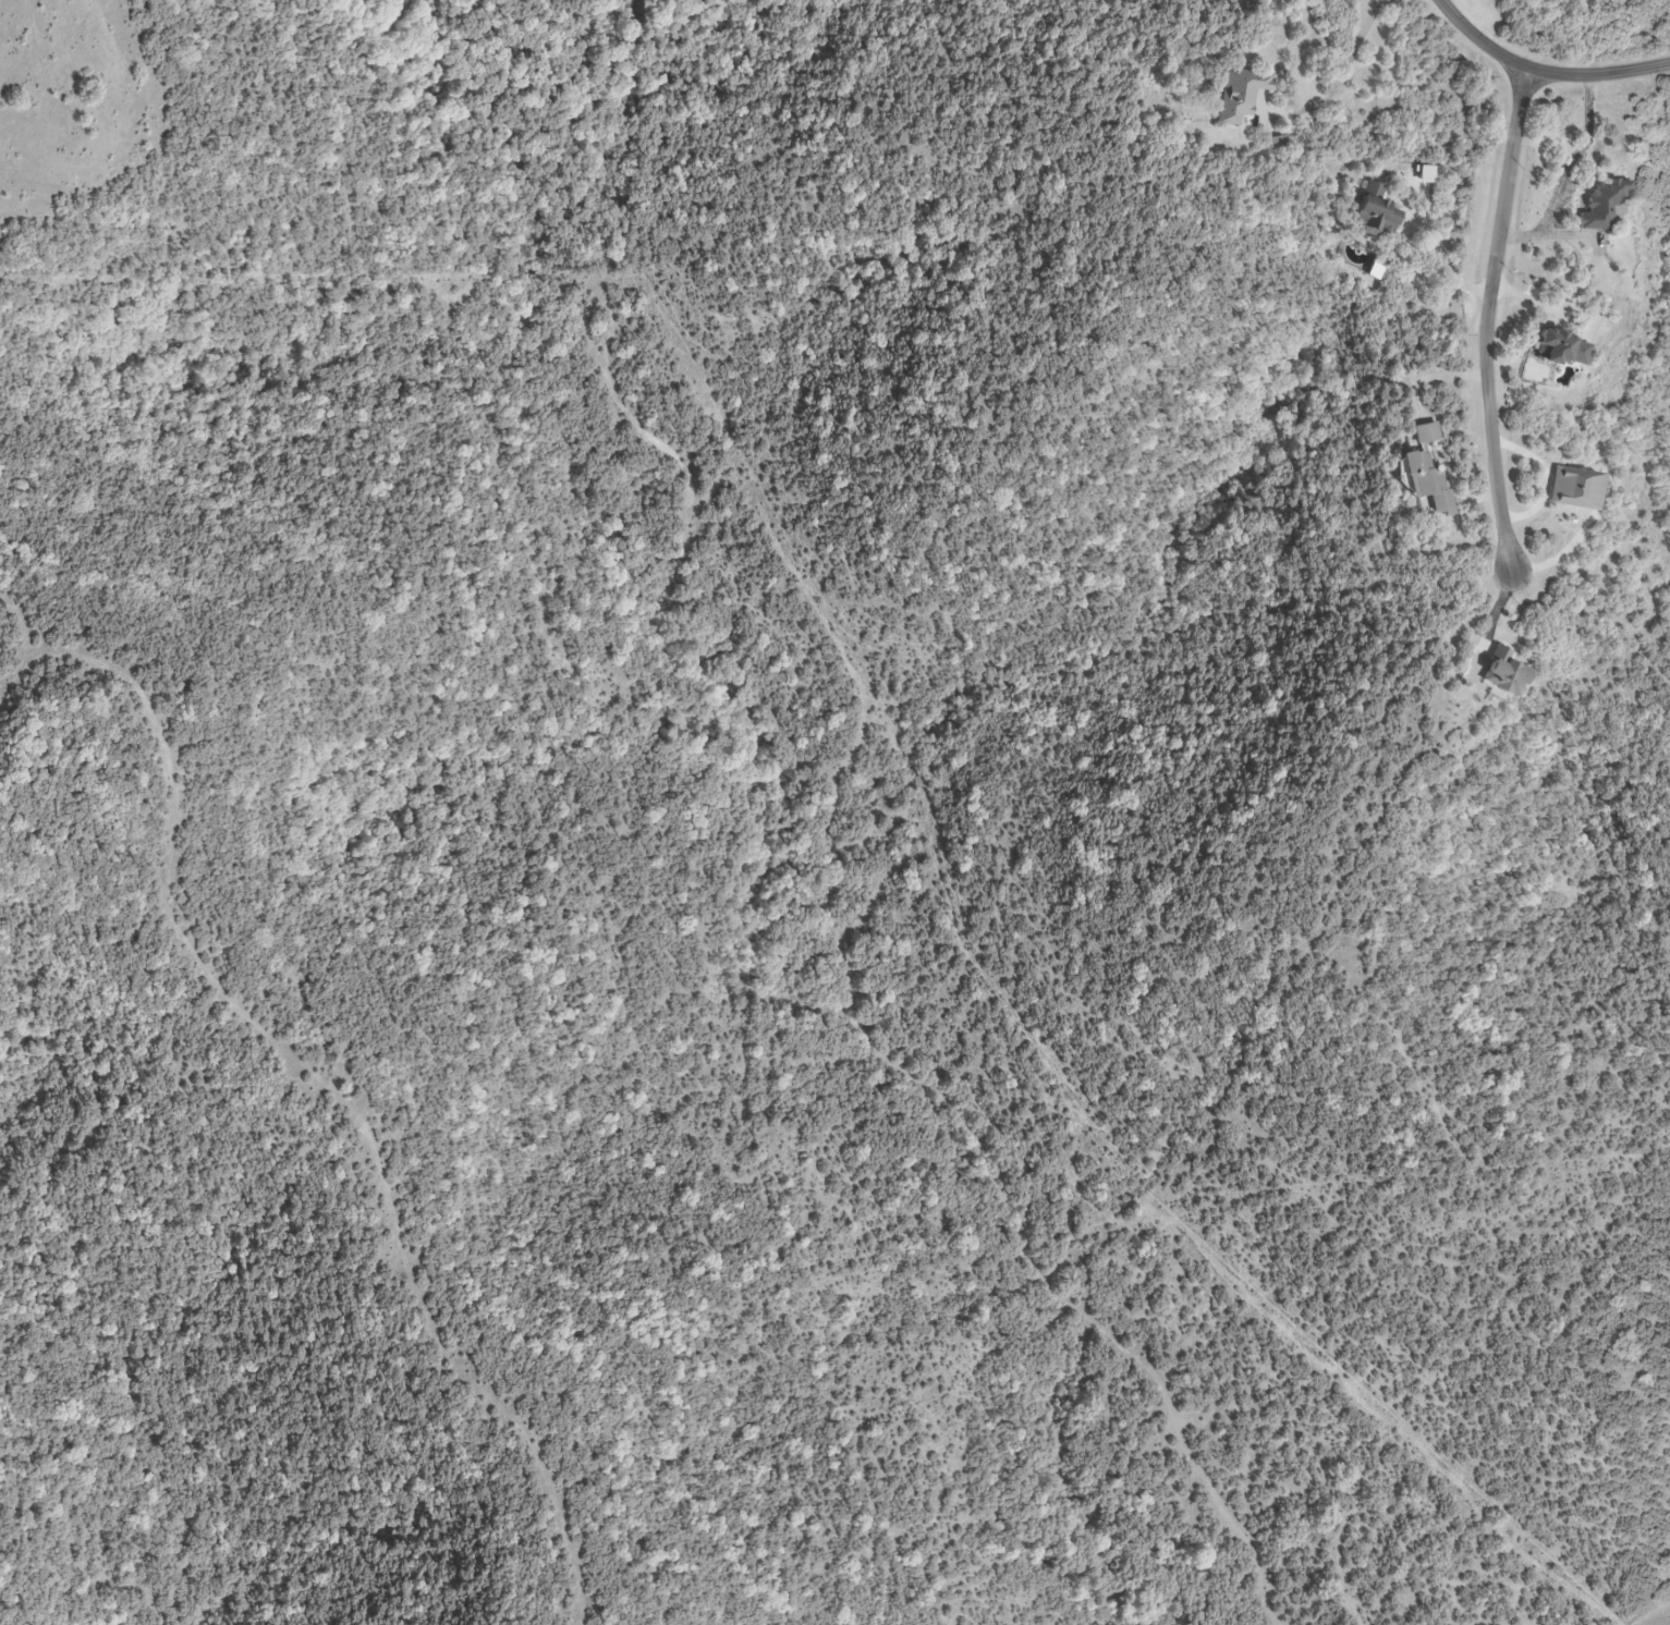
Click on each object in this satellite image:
road: (1541, 72)
road: (1345, 81)
building: (1239, 96)
building: (1273, 144)
road: (1575, 158)
building: (1600, 207)
building: (1373, 217)
road: (1550, 237)
road: (1446, 265)
road: (1489, 320)
building: (1558, 351)
road: (1439, 377)
building: (1425, 472)
building: (1571, 490)
building: (1499, 673)

